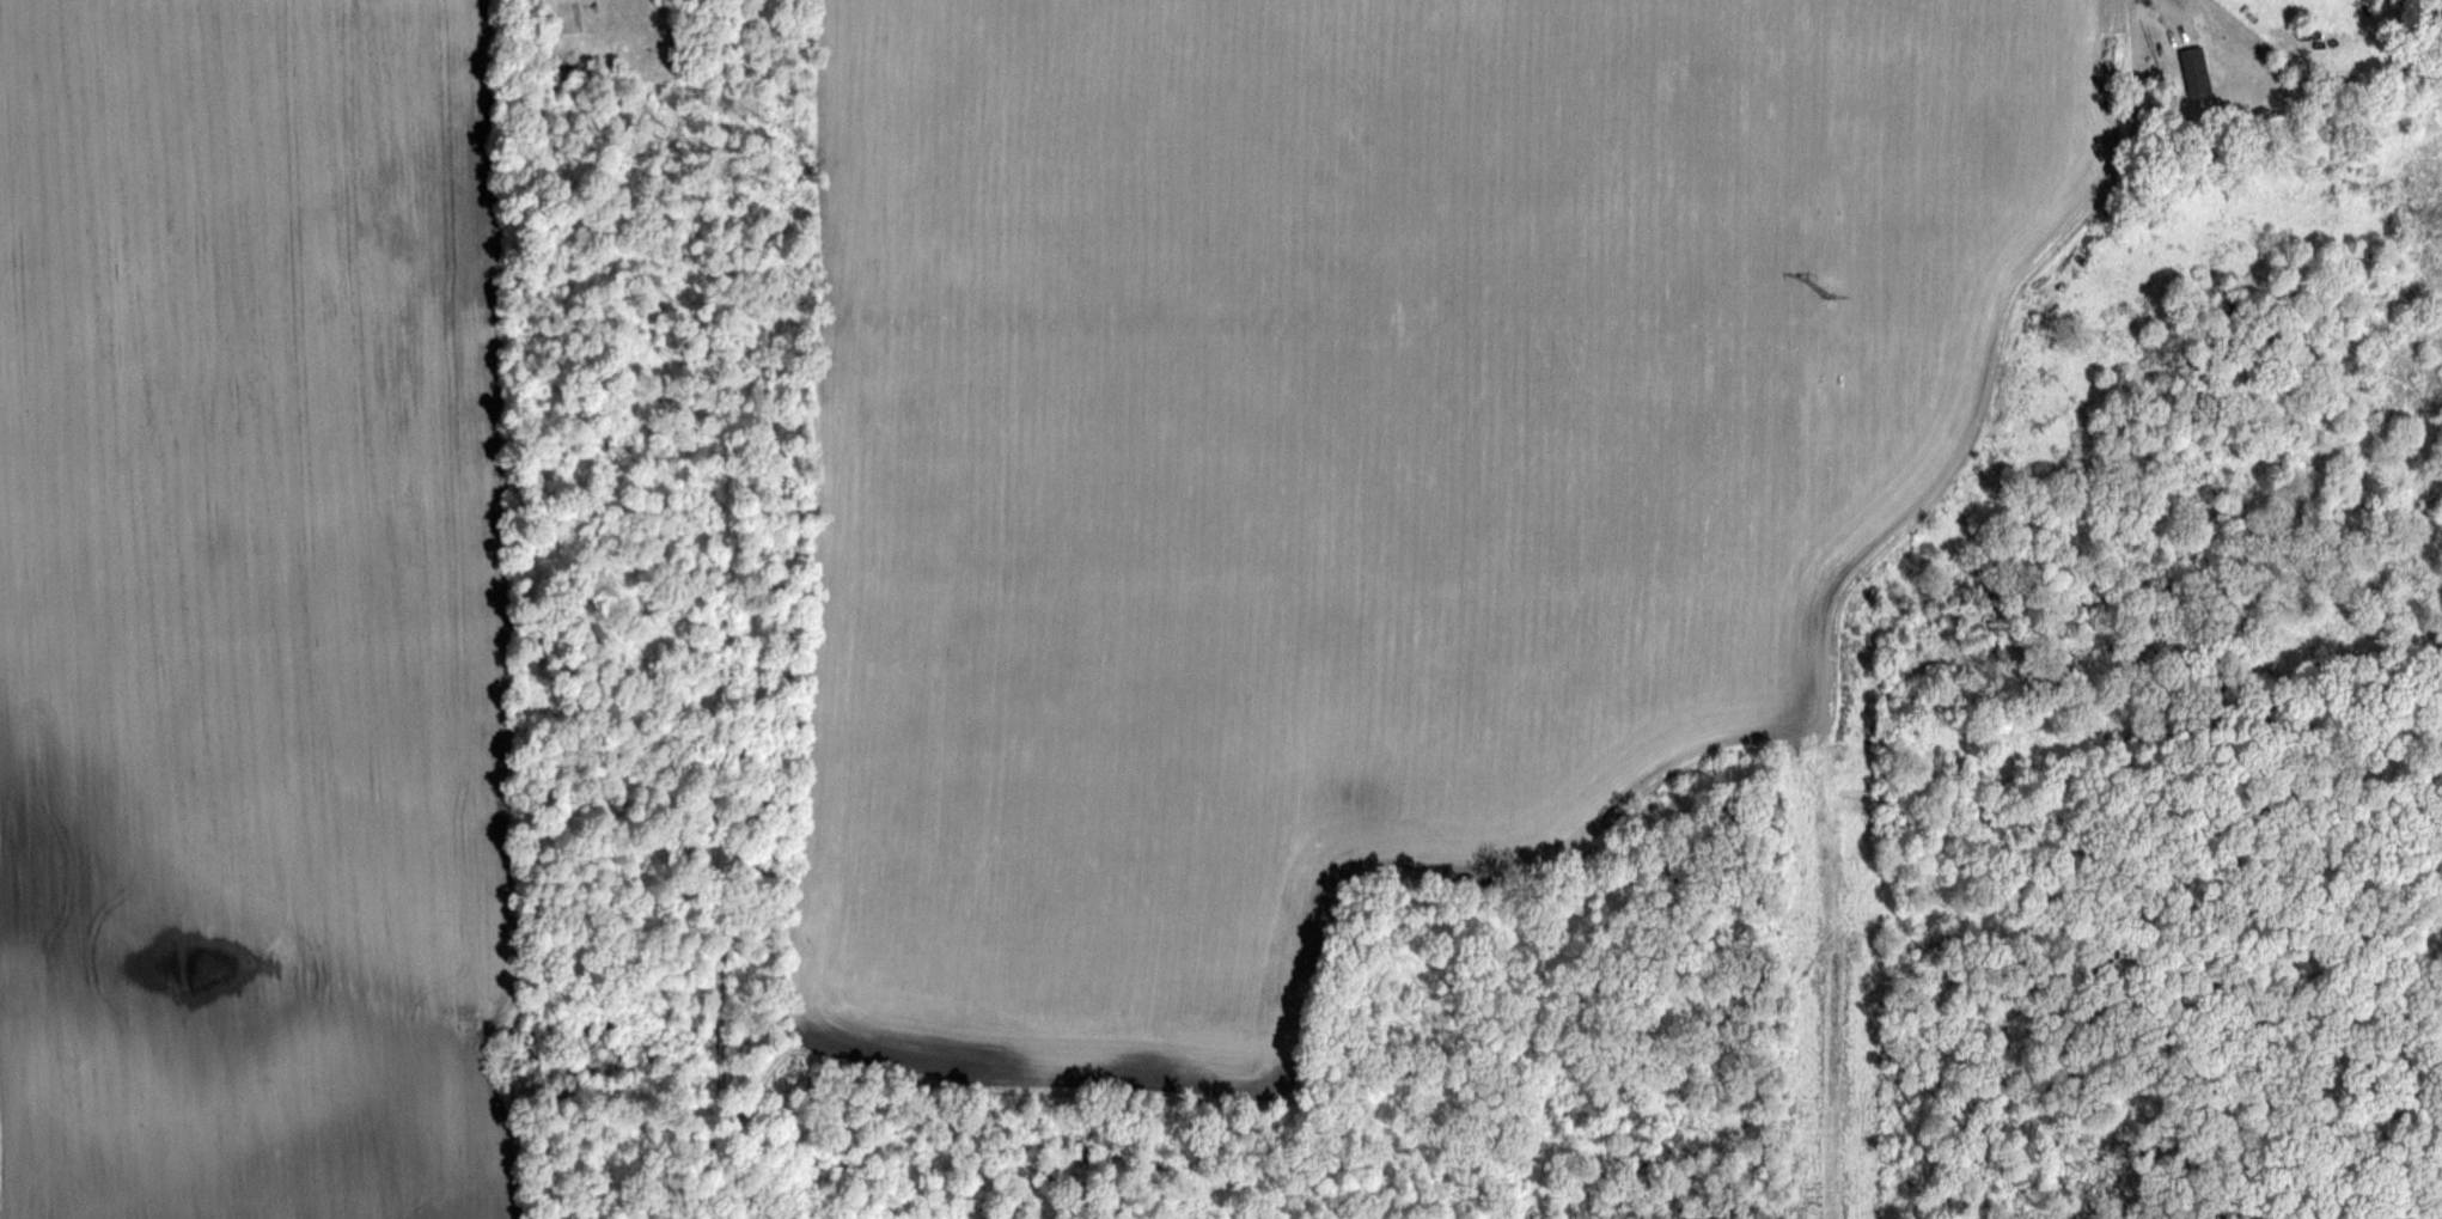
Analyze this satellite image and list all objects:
building: (2197, 72)

